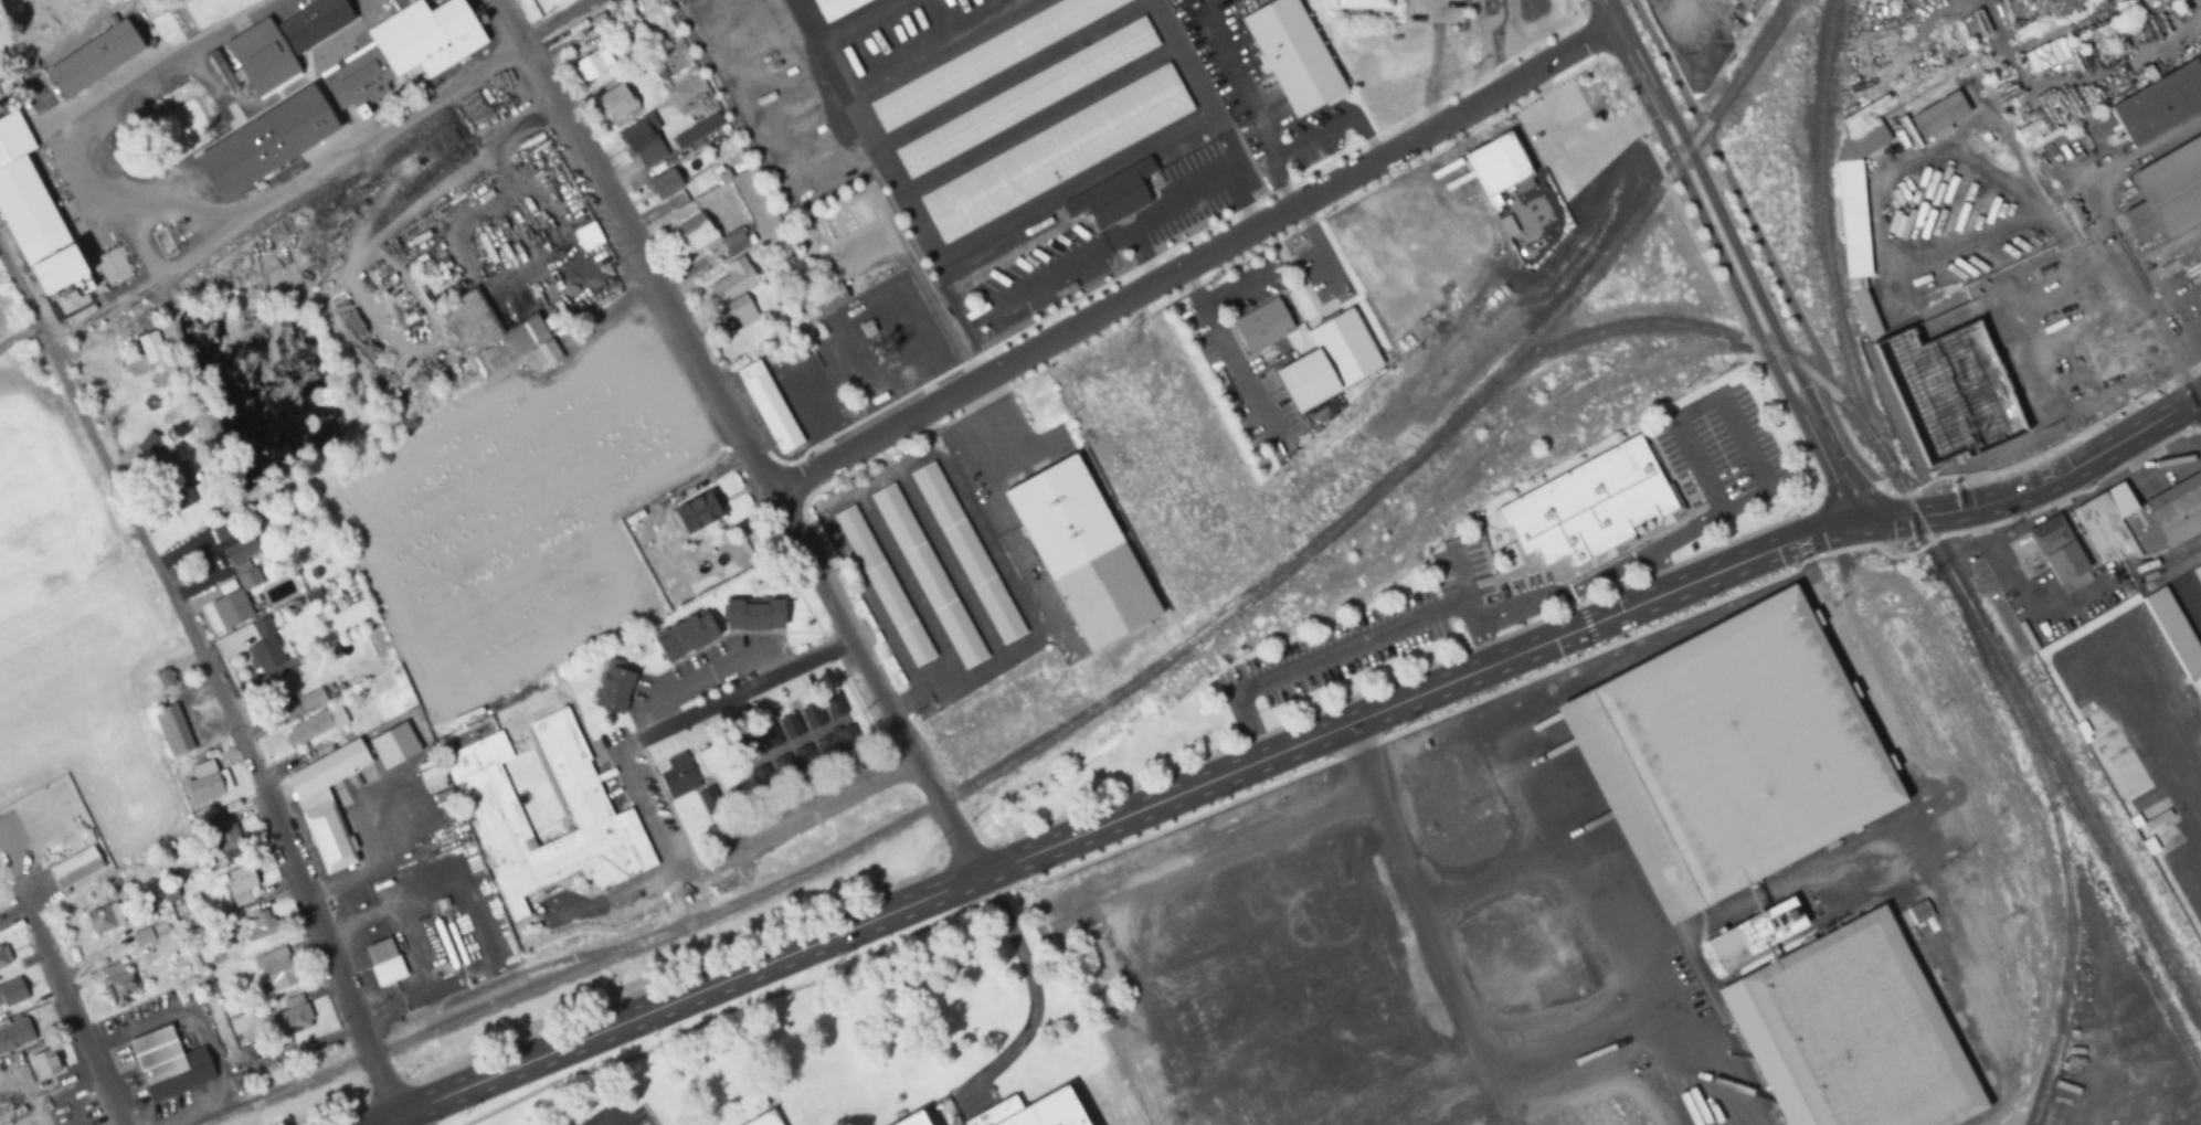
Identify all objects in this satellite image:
building: (2148, 2)
building: (1363, 3)
building: (617, 13)
building: (313, 22)
building: (1291, 53)
building: (384, 55)
building: (2045, 55)
building: (107, 56)
building: (261, 56)
building: (988, 56)
road: (1664, 56)
building: (590, 65)
building: (1026, 96)
building: (618, 100)
building: (2159, 102)
building: (1938, 113)
road: (1703, 126)
building: (692, 132)
building: (643, 142)
building: (1056, 152)
building: (1496, 162)
building: (665, 184)
building: (2168, 192)
building: (1112, 195)
building: (36, 216)
building: (1856, 216)
building: (588, 236)
road: (1767, 251)
road: (1195, 258)
road: (1735, 262)
building: (443, 282)
building: (736, 290)
building: (828, 298)
building: (977, 318)
building: (1260, 326)
railway: (1685, 326)
building: (495, 338)
building: (151, 348)
building: (1329, 360)
road: (1822, 378)
road: (2200, 396)
building: (769, 406)
road: (741, 438)
road: (1844, 444)
building: (165, 473)
road: (1849, 488)
building: (1588, 505)
building: (697, 512)
building: (2139, 520)
railway: (1926, 532)
building: (223, 533)
building: (2056, 550)
building: (966, 552)
building: (1081, 552)
building: (241, 573)
building: (2198, 573)
building: (928, 575)
building: (883, 585)
building: (754, 615)
building: (2174, 633)
building: (686, 636)
building: (264, 648)
building: (163, 678)
road: (209, 683)
building: (613, 688)
building: (282, 693)
building: (311, 699)
railway: (1096, 704)
building: (834, 705)
building: (812, 715)
building: (316, 724)
building: (790, 725)
building: (172, 730)
building: (769, 736)
building: (837, 742)
building: (749, 744)
road: (1288, 747)
building: (1735, 751)
building: (711, 758)
building: (804, 758)
building: (783, 766)
building: (678, 775)
building: (762, 778)
building: (207, 782)
building: (327, 800)
building: (709, 800)
building: (495, 811)
road: (654, 815)
building: (2150, 824)
building: (227, 837)
railway: (2059, 837)
building: (75, 868)
building: (241, 880)
railway: (1660, 900)
building: (1917, 912)
building: (104, 919)
road: (1432, 922)
building: (263, 925)
building: (1757, 934)
building: (3, 955)
building: (384, 962)
railway: (532, 967)
building: (274, 969)
building: (118, 985)
building: (12, 991)
building: (292, 1017)
road: (82, 1026)
building: (1851, 1032)
building: (14, 1033)
building: (169, 1063)
building: (45, 1064)
building: (2182, 1095)
building: (1049, 1111)
road: (610, 1116)
building: (763, 1119)
building: (912, 1119)

